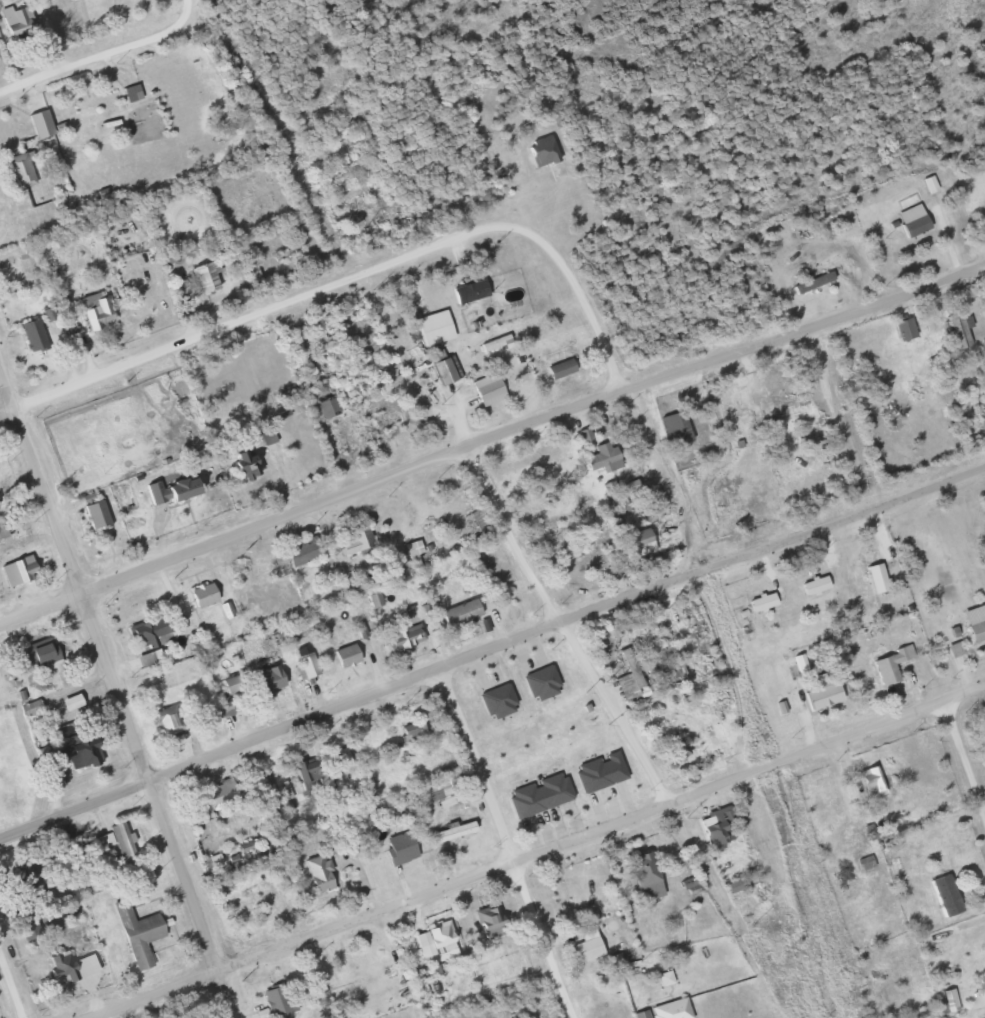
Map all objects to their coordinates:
building: (14, 15)
road: (58, 63)
building: (149, 77)
building: (128, 85)
building: (538, 151)
building: (18, 163)
building: (364, 212)
building: (909, 218)
road: (352, 274)
building: (808, 274)
building: (205, 275)
building: (467, 285)
building: (92, 303)
building: (899, 321)
building: (432, 322)
building: (955, 326)
building: (28, 328)
building: (491, 334)
building: (554, 358)
building: (439, 363)
building: (556, 369)
building: (484, 382)
building: (325, 402)
building: (672, 422)
building: (382, 424)
building: (263, 426)
road: (490, 434)
building: (341, 437)
building: (238, 453)
building: (600, 453)
building: (167, 477)
building: (92, 509)
building: (477, 514)
building: (336, 525)
road: (509, 532)
building: (634, 535)
building: (352, 538)
building: (297, 539)
building: (410, 550)
building: (298, 551)
building: (21, 564)
building: (199, 587)
building: (457, 604)
building: (973, 621)
building: (145, 624)
building: (398, 629)
building: (949, 637)
road: (489, 643)
building: (39, 645)
building: (343, 646)
building: (300, 653)
building: (800, 663)
building: (883, 665)
building: (263, 669)
building: (669, 669)
building: (626, 672)
building: (227, 674)
building: (538, 677)
building: (559, 678)
building: (819, 689)
building: (520, 691)
building: (493, 694)
road: (117, 698)
building: (65, 702)
building: (483, 707)
building: (165, 710)
road: (614, 710)
building: (412, 723)
building: (573, 727)
building: (670, 739)
building: (63, 740)
building: (342, 753)
building: (613, 758)
road: (473, 761)
road: (962, 761)
building: (307, 766)
building: (597, 769)
building: (577, 777)
building: (437, 779)
building: (872, 781)
building: (215, 784)
building: (536, 790)
building: (273, 799)
road: (346, 806)
building: (712, 817)
building: (450, 823)
building: (117, 837)
building: (397, 841)
building: (226, 851)
road: (527, 854)
building: (862, 854)
building: (315, 867)
building: (642, 872)
building: (24, 875)
building: (685, 876)
building: (734, 877)
building: (94, 880)
building: (942, 888)
building: (569, 890)
building: (481, 906)
building: (133, 924)
building: (431, 933)
building: (584, 938)
road: (542, 939)
building: (614, 951)
road: (407, 958)
building: (60, 963)
building: (662, 971)
road: (10, 985)
building: (977, 987)
building: (316, 993)
building: (271, 997)
building: (977, 998)
building: (669, 1004)
building: (180, 1013)

